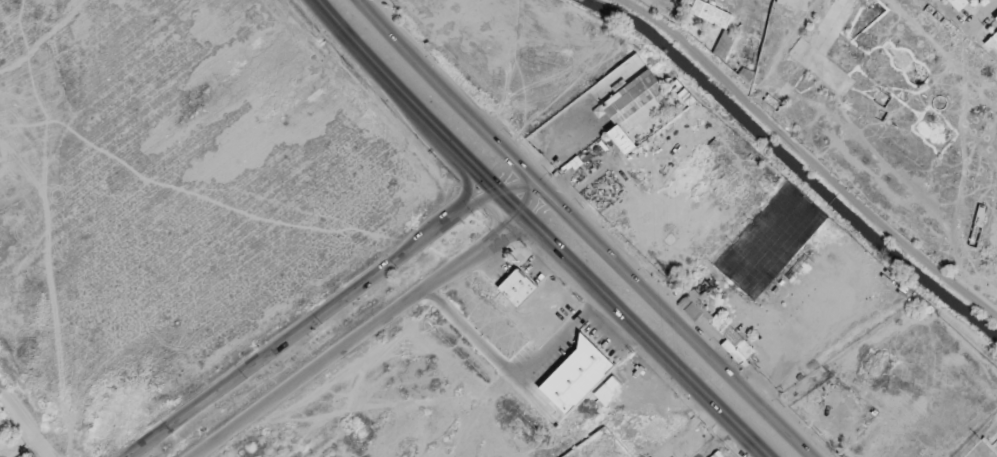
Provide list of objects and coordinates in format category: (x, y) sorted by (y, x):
park: (771, 240)
power tower: (670, 275)
water park: (10, 439)

